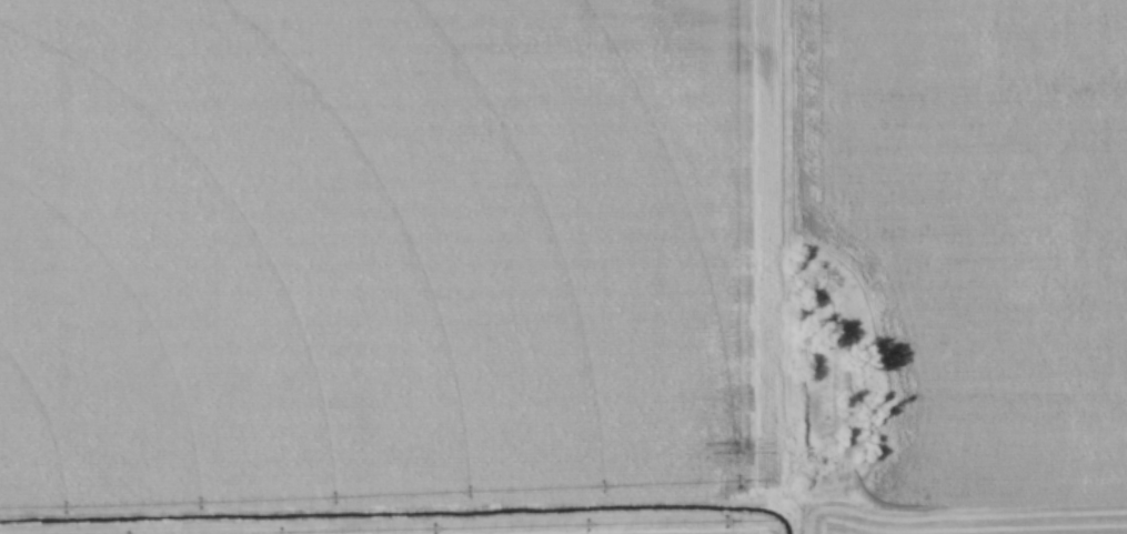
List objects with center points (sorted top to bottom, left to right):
crop: (984, 222)
crop: (386, 251)
crop: (791, 528)

